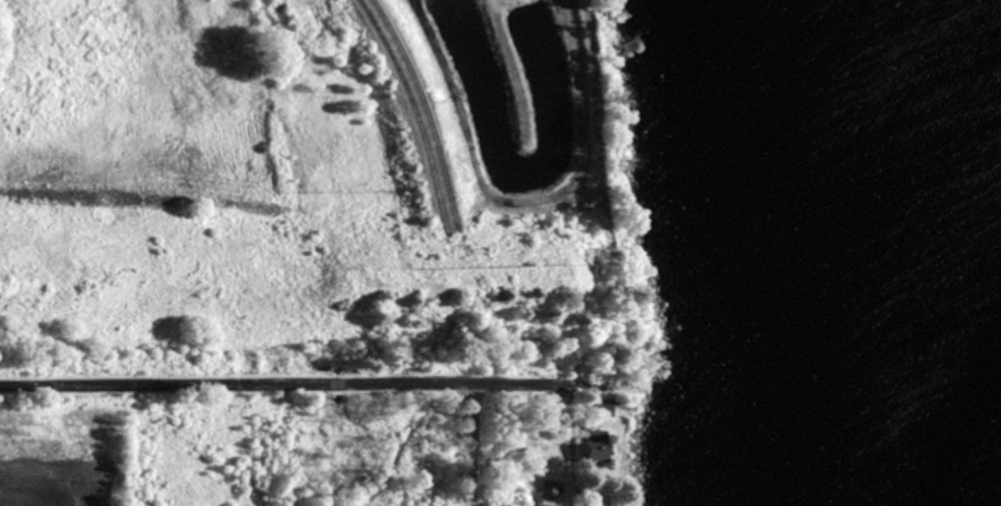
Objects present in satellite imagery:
railway: (420, 111)
railway: (408, 112)
power plant: (314, 216)
road: (284, 385)
building: (601, 408)
building: (591, 445)
road: (471, 446)
building: (545, 489)

